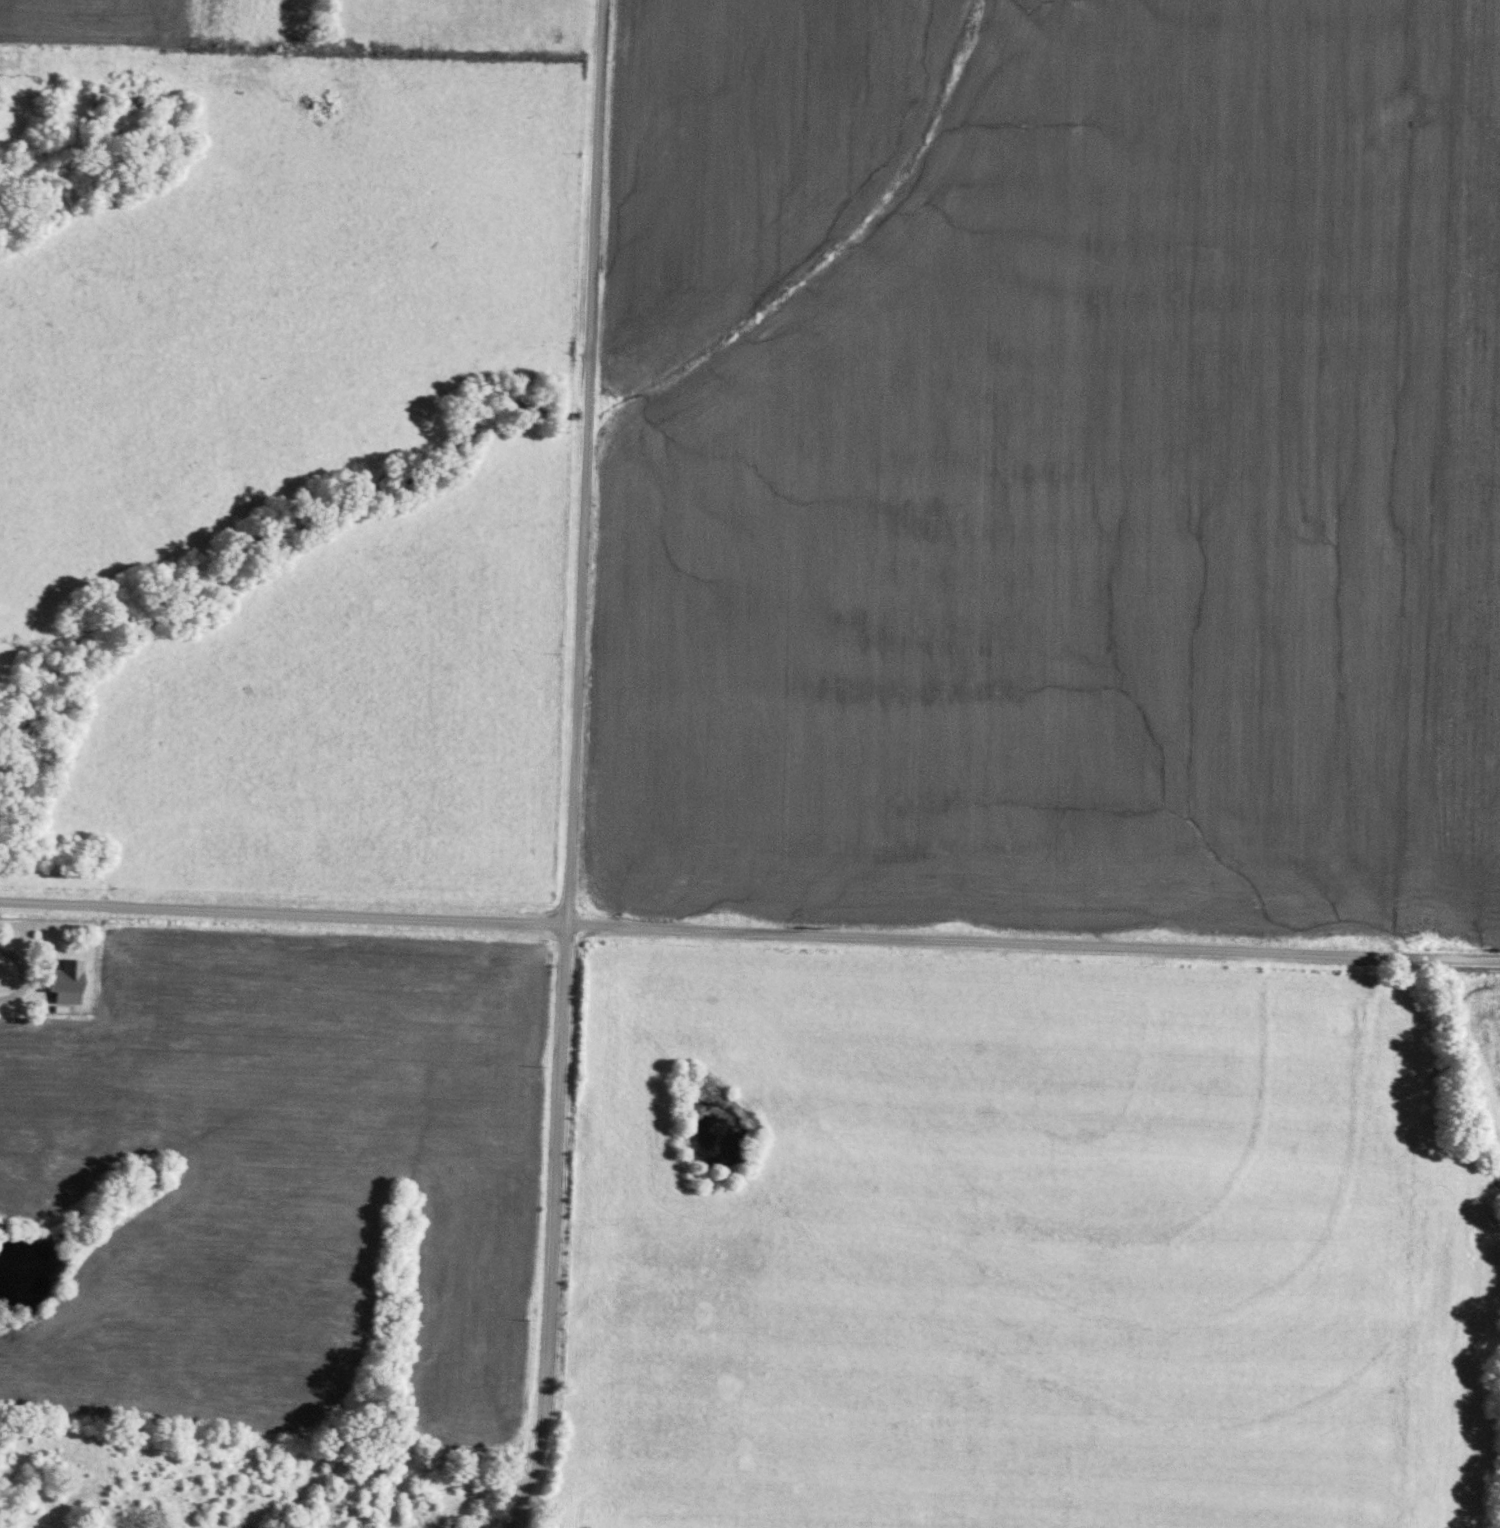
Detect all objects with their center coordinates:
road: (574, 766)
road: (749, 932)
road: (34, 977)
building: (67, 978)

